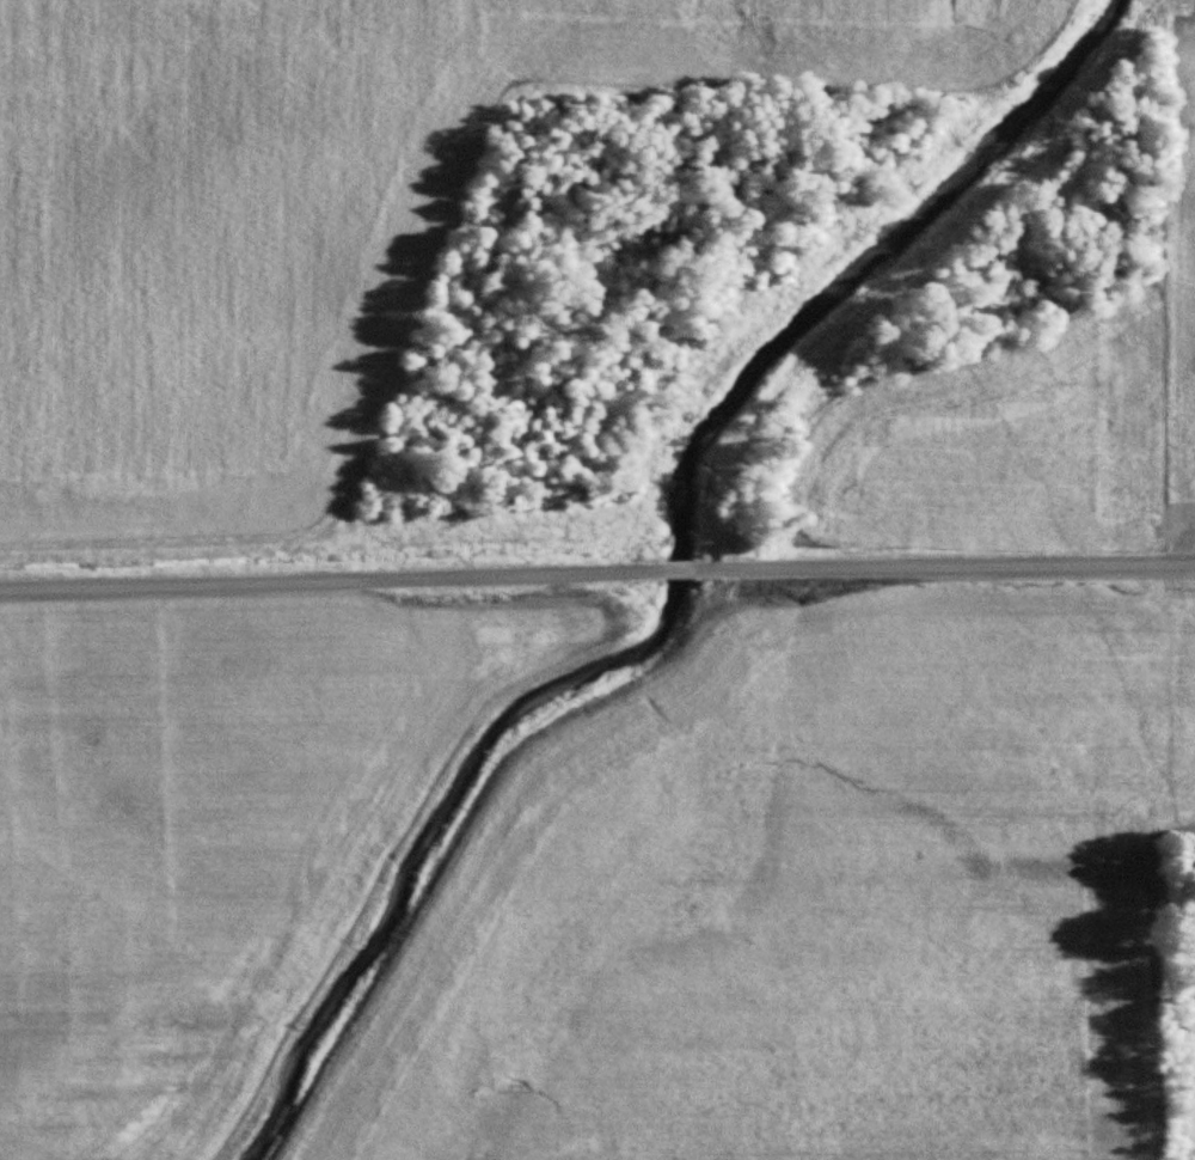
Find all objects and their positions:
road: (963, 568)
road: (669, 573)
road: (304, 580)
river: (675, 585)

